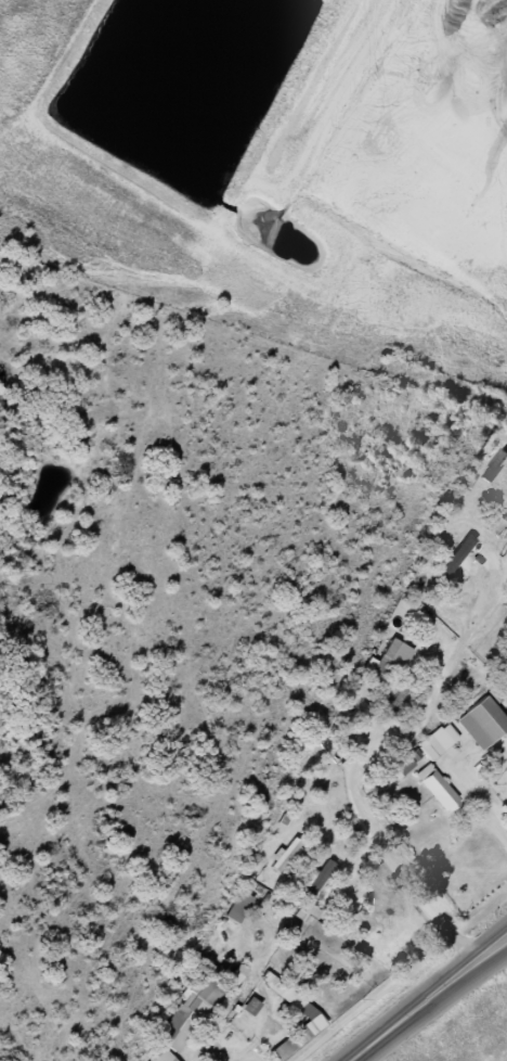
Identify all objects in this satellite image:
building: (454, 555)
building: (430, 743)
building: (433, 789)
road: (473, 793)
building: (283, 861)
building: (233, 907)
building: (192, 1001)
road: (429, 1001)
building: (147, 1060)

